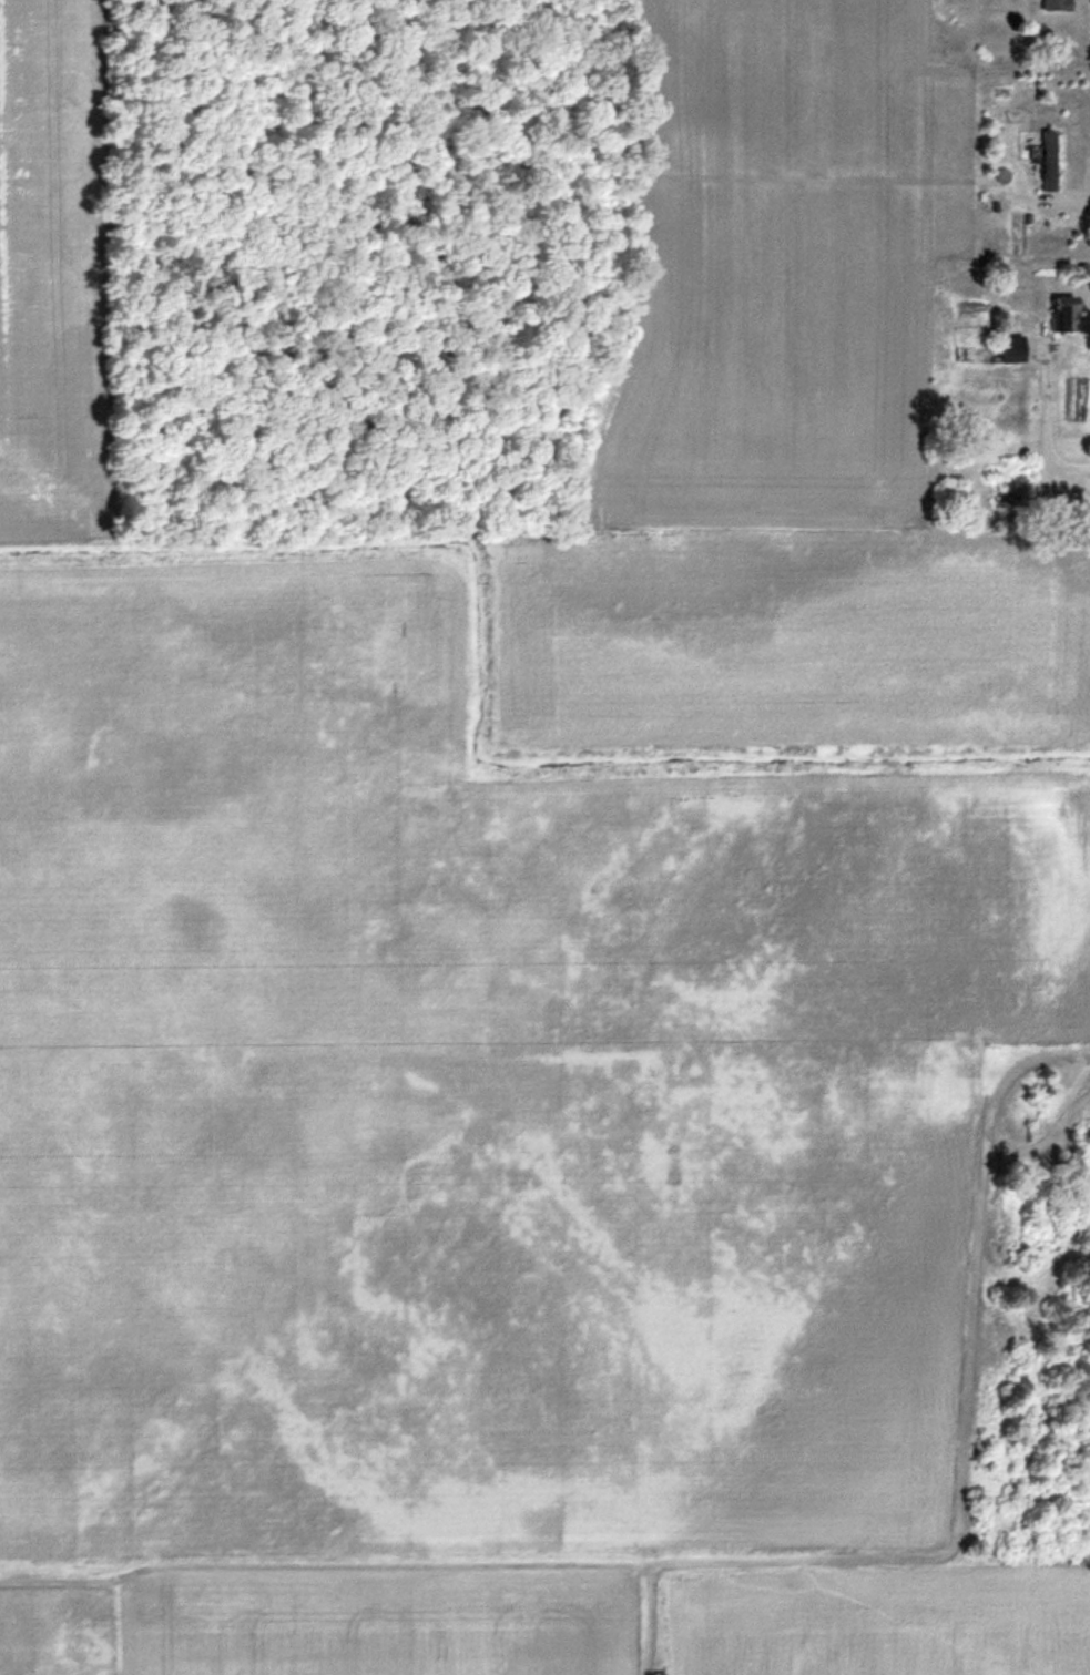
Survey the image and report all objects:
building: (1057, 4)
building: (1049, 159)
building: (1015, 347)
building: (1023, 481)

